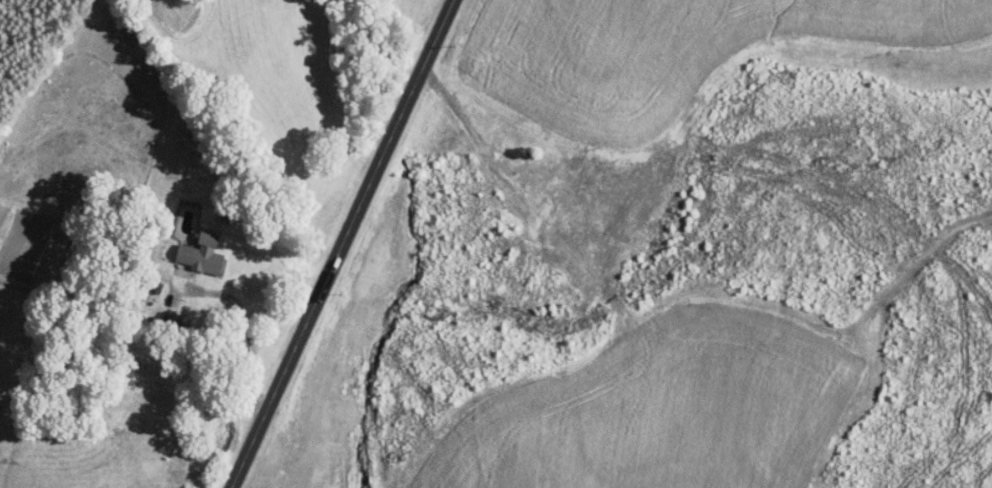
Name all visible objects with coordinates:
road: (340, 244)
building: (211, 253)
road: (243, 321)

